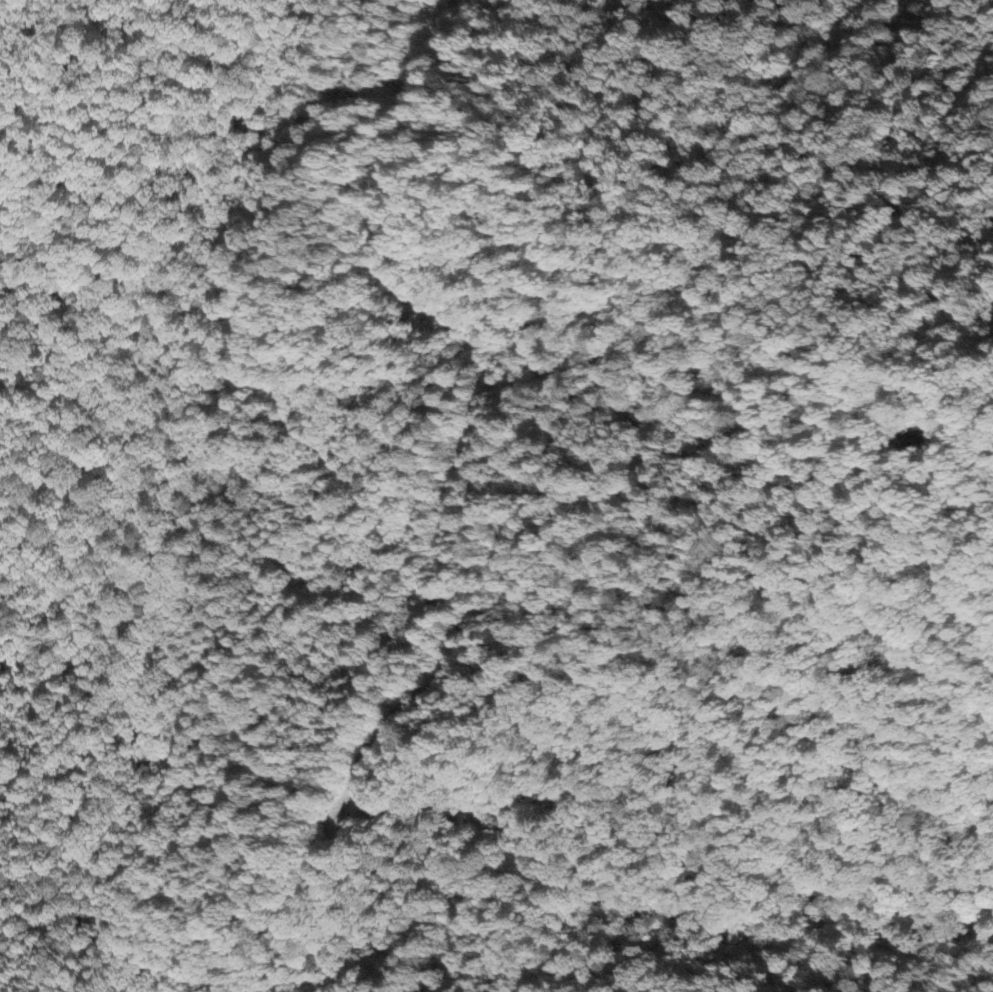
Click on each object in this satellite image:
road: (925, 463)

